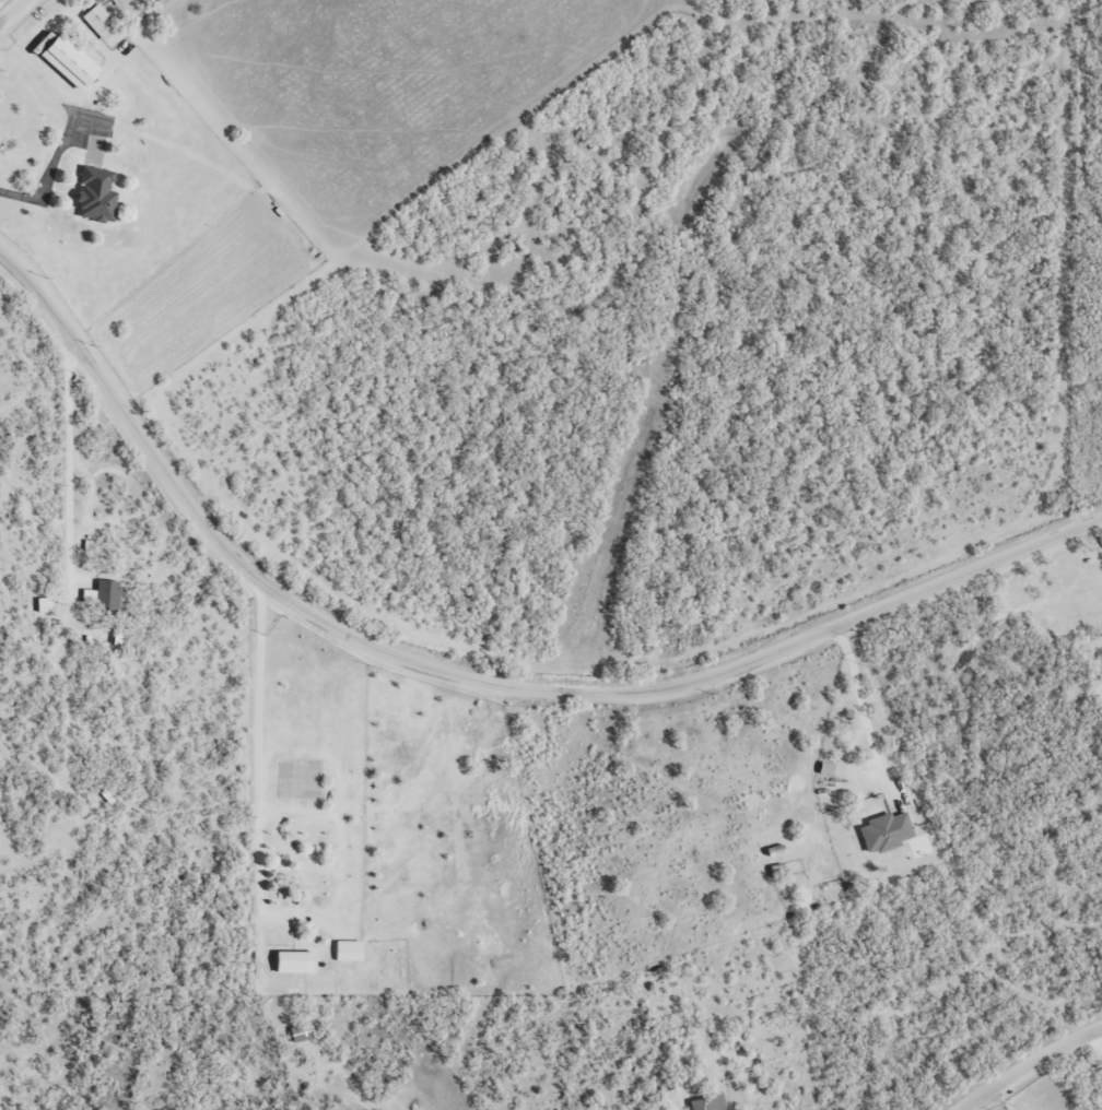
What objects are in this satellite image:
building: (96, 20)
building: (65, 60)
road: (90, 106)
building: (93, 193)
building: (86, 593)
building: (105, 593)
road: (496, 673)
building: (823, 767)
building: (882, 830)
building: (345, 949)
building: (291, 960)
building: (298, 1031)
road: (1025, 1062)
building: (705, 1102)

